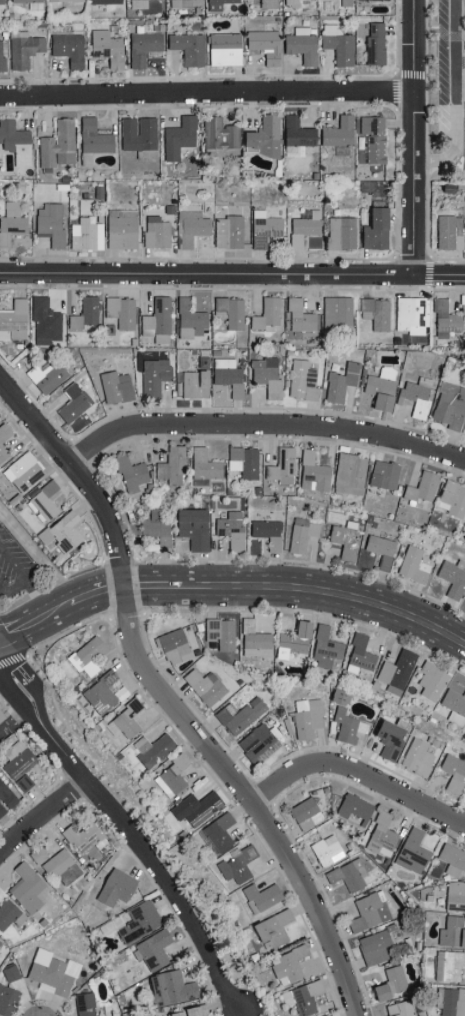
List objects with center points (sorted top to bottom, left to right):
building: (63, 0)
building: (1, 1)
building: (103, 1)
building: (30, 3)
building: (183, 3)
building: (267, 3)
building: (291, 3)
building: (217, 4)
building: (373, 43)
building: (337, 44)
building: (142, 45)
building: (264, 45)
building: (300, 45)
building: (23, 48)
building: (106, 48)
building: (188, 48)
building: (67, 49)
building: (223, 49)
building: (2, 63)
road: (207, 94)
road: (456, 96)
building: (337, 132)
building: (138, 133)
building: (219, 134)
building: (269, 135)
building: (178, 136)
building: (296, 136)
road: (414, 136)
building: (372, 138)
building: (92, 140)
building: (249, 141)
building: (15, 142)
building: (58, 144)
building: (341, 150)
building: (11, 222)
building: (50, 224)
building: (191, 227)
building: (303, 227)
building: (264, 228)
building: (121, 229)
building: (375, 229)
building: (228, 231)
building: (449, 232)
building: (87, 233)
building: (156, 233)
building: (342, 233)
road: (232, 272)
building: (120, 311)
building: (230, 311)
building: (86, 312)
building: (375, 313)
building: (337, 314)
building: (267, 315)
building: (410, 315)
building: (299, 316)
building: (45, 319)
building: (157, 319)
building: (444, 319)
building: (13, 320)
building: (190, 320)
building: (46, 375)
building: (265, 376)
building: (153, 377)
building: (301, 380)
building: (340, 382)
building: (115, 387)
building: (379, 389)
building: (416, 396)
building: (72, 403)
building: (449, 405)
road: (264, 423)
building: (4, 440)
building: (243, 462)
building: (170, 465)
building: (203, 467)
building: (281, 467)
building: (24, 471)
building: (312, 473)
building: (130, 474)
building: (349, 474)
building: (383, 475)
building: (421, 488)
building: (451, 498)
building: (43, 501)
road: (1, 513)
building: (156, 527)
building: (192, 528)
building: (230, 529)
building: (61, 534)
building: (266, 534)
building: (301, 534)
building: (343, 542)
building: (380, 550)
road: (37, 555)
road: (13, 563)
building: (412, 565)
building: (452, 577)
road: (232, 585)
road: (16, 588)
road: (2, 592)
road: (38, 597)
building: (221, 633)
building: (253, 639)
building: (292, 639)
building: (173, 645)
building: (324, 647)
building: (359, 654)
building: (87, 655)
building: (396, 671)
road: (23, 672)
building: (430, 680)
building: (204, 686)
road: (14, 696)
building: (455, 698)
road: (168, 699)
building: (5, 712)
building: (239, 715)
building: (307, 716)
road: (18, 719)
building: (347, 725)
building: (388, 737)
building: (258, 742)
building: (152, 749)
building: (417, 757)
building: (18, 759)
road: (358, 770)
building: (171, 776)
building: (23, 782)
building: (6, 798)
building: (195, 807)
building: (354, 808)
building: (305, 813)
road: (43, 816)
building: (217, 833)
building: (381, 834)
building: (81, 836)
building: (326, 849)
building: (412, 851)
road: (145, 852)
building: (37, 854)
building: (451, 858)
building: (236, 865)
building: (60, 867)
building: (346, 878)
building: (26, 887)
building: (114, 887)
building: (454, 895)
building: (261, 896)
building: (368, 911)
building: (9, 914)
building: (139, 921)
building: (272, 927)
building: (451, 931)
building: (374, 946)
building: (154, 949)
building: (288, 964)
building: (448, 965)
building: (10, 972)
building: (53, 974)
building: (395, 978)
building: (170, 987)
building: (378, 991)
building: (302, 997)
building: (7, 1000)
building: (450, 1001)
building: (83, 1004)
building: (399, 1008)
building: (187, 1011)
road: (242, 1013)
building: (141, 1014)
building: (330, 1015)

